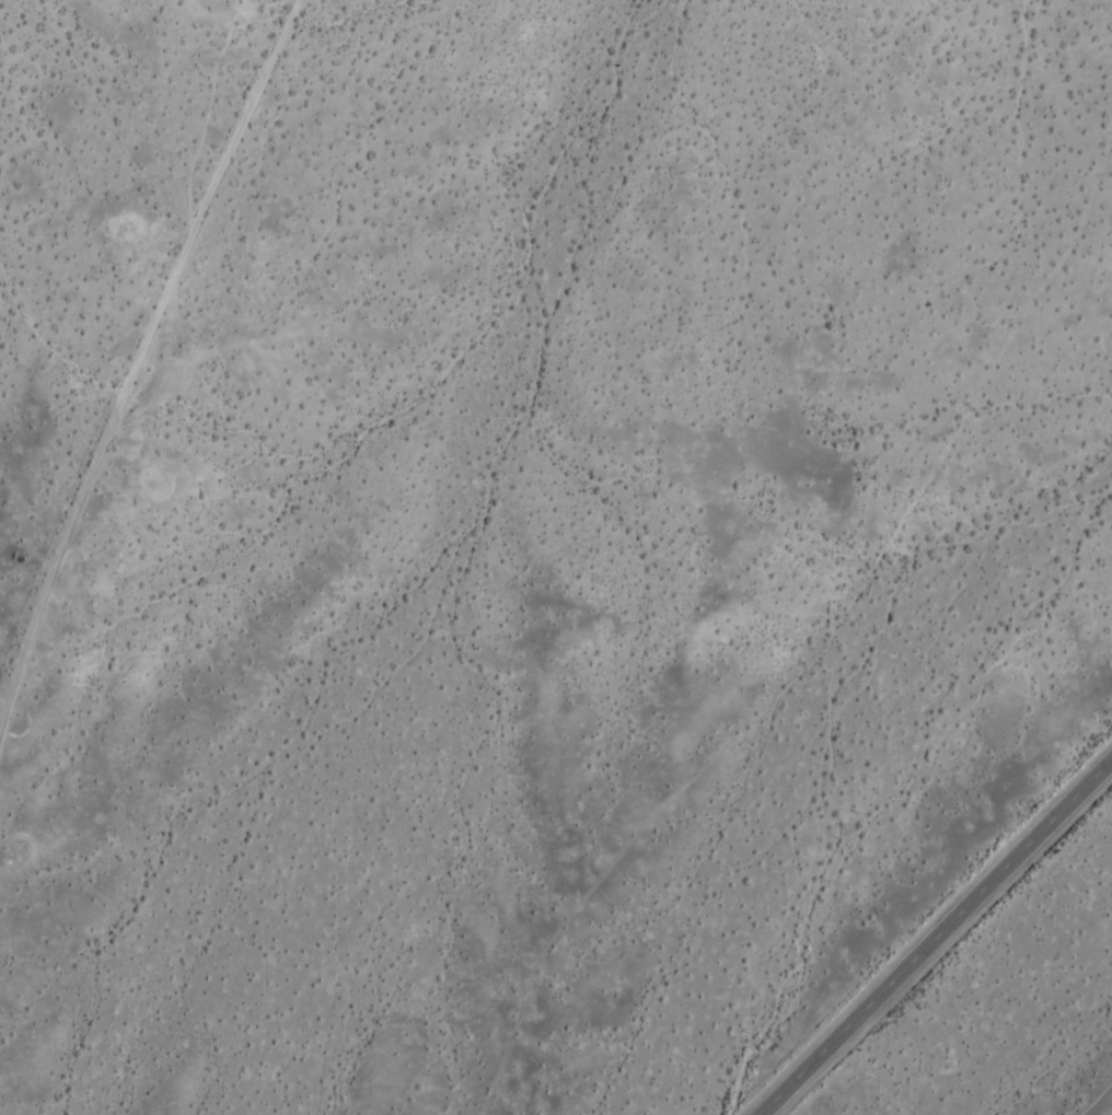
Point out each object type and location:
road: (936, 936)

